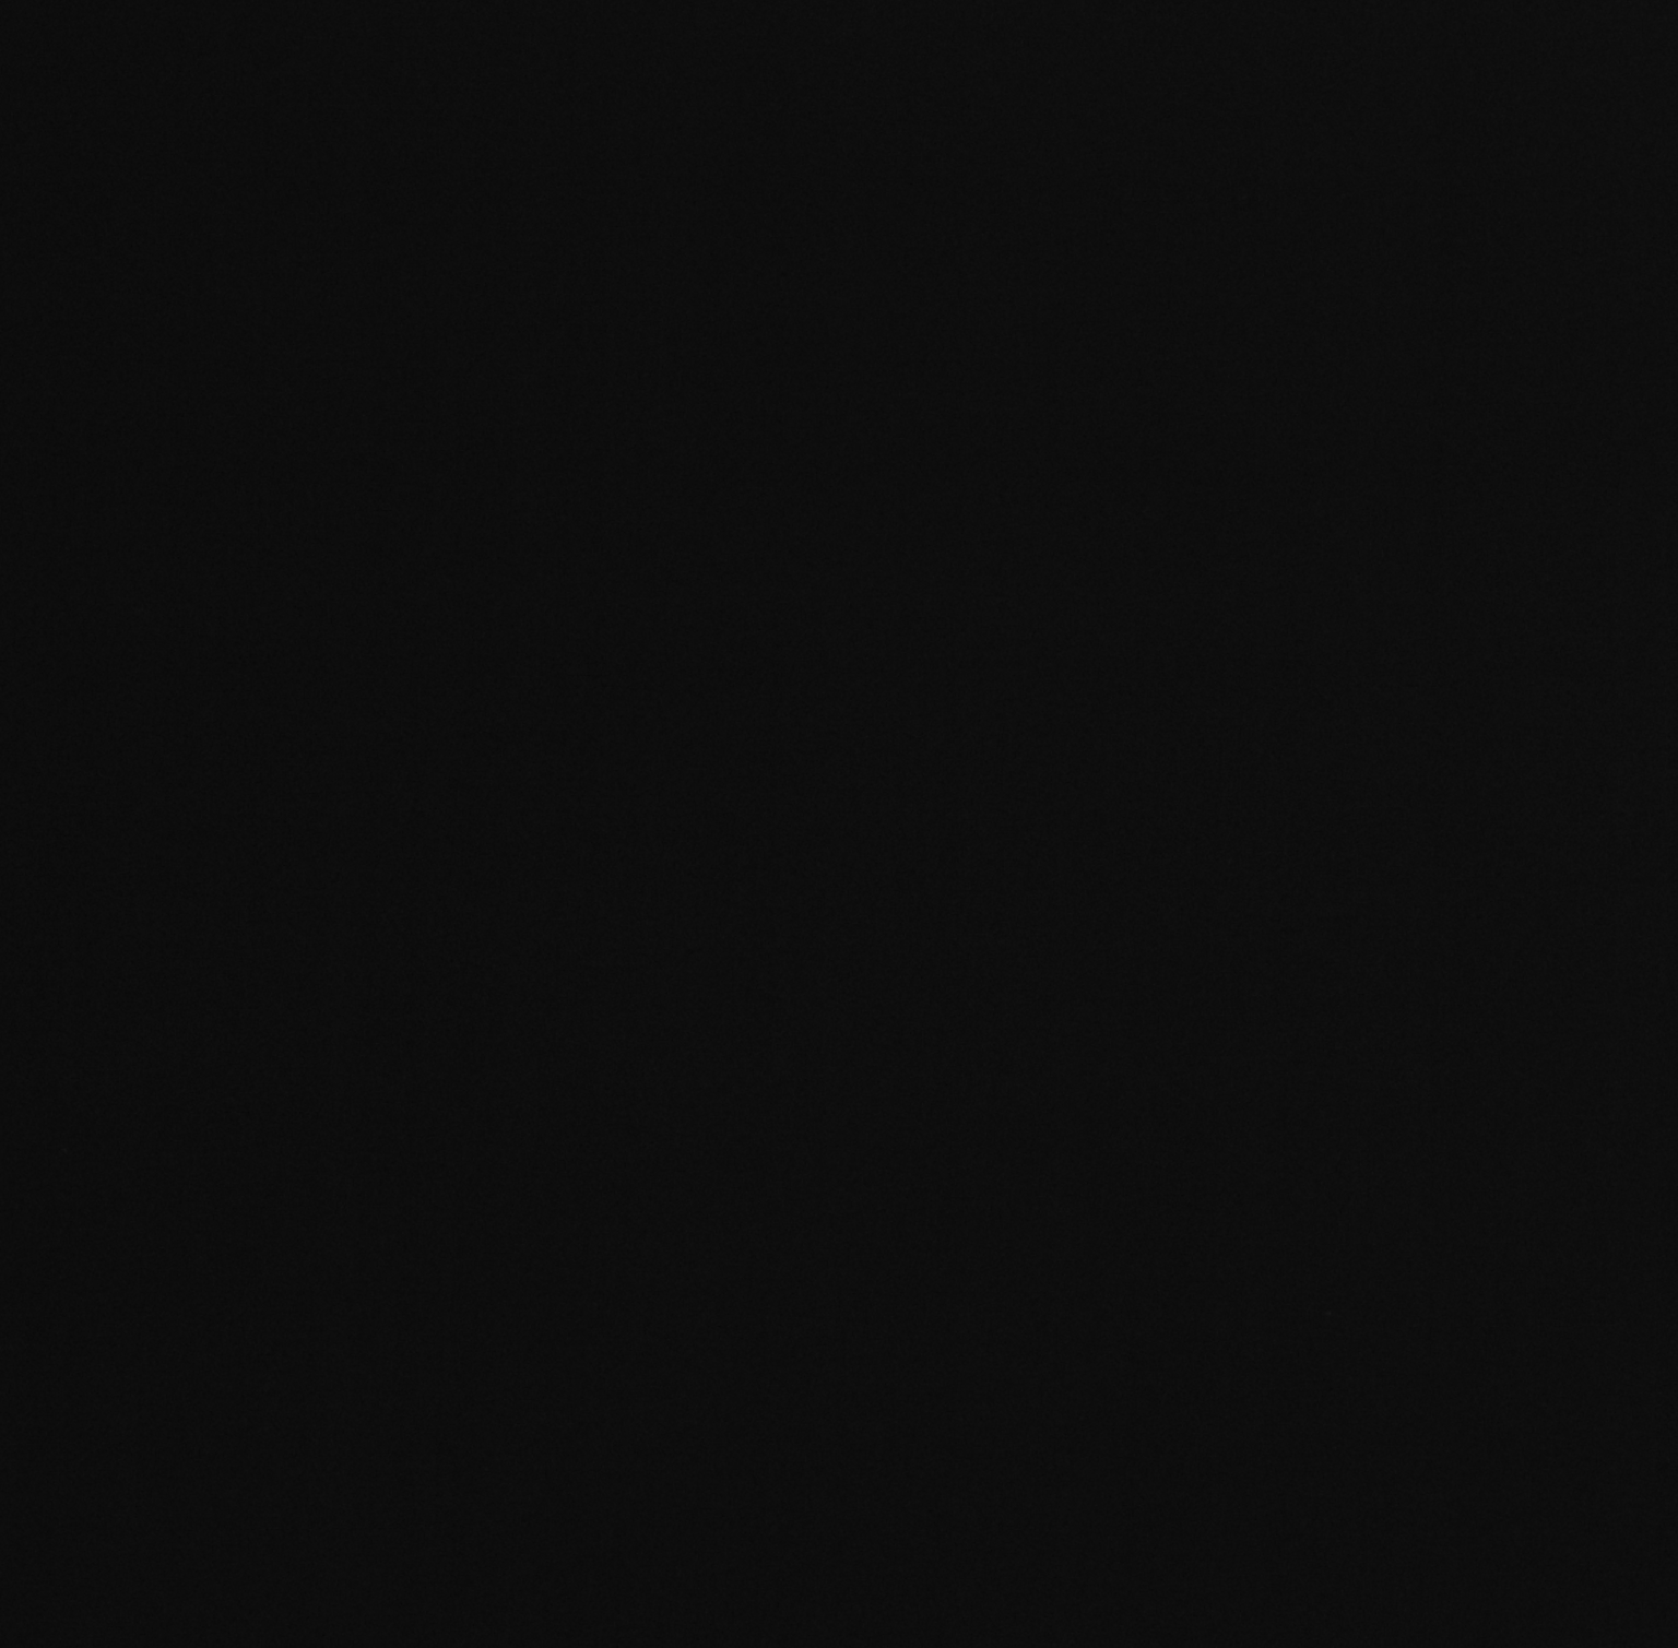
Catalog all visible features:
river: (1221, 137)

